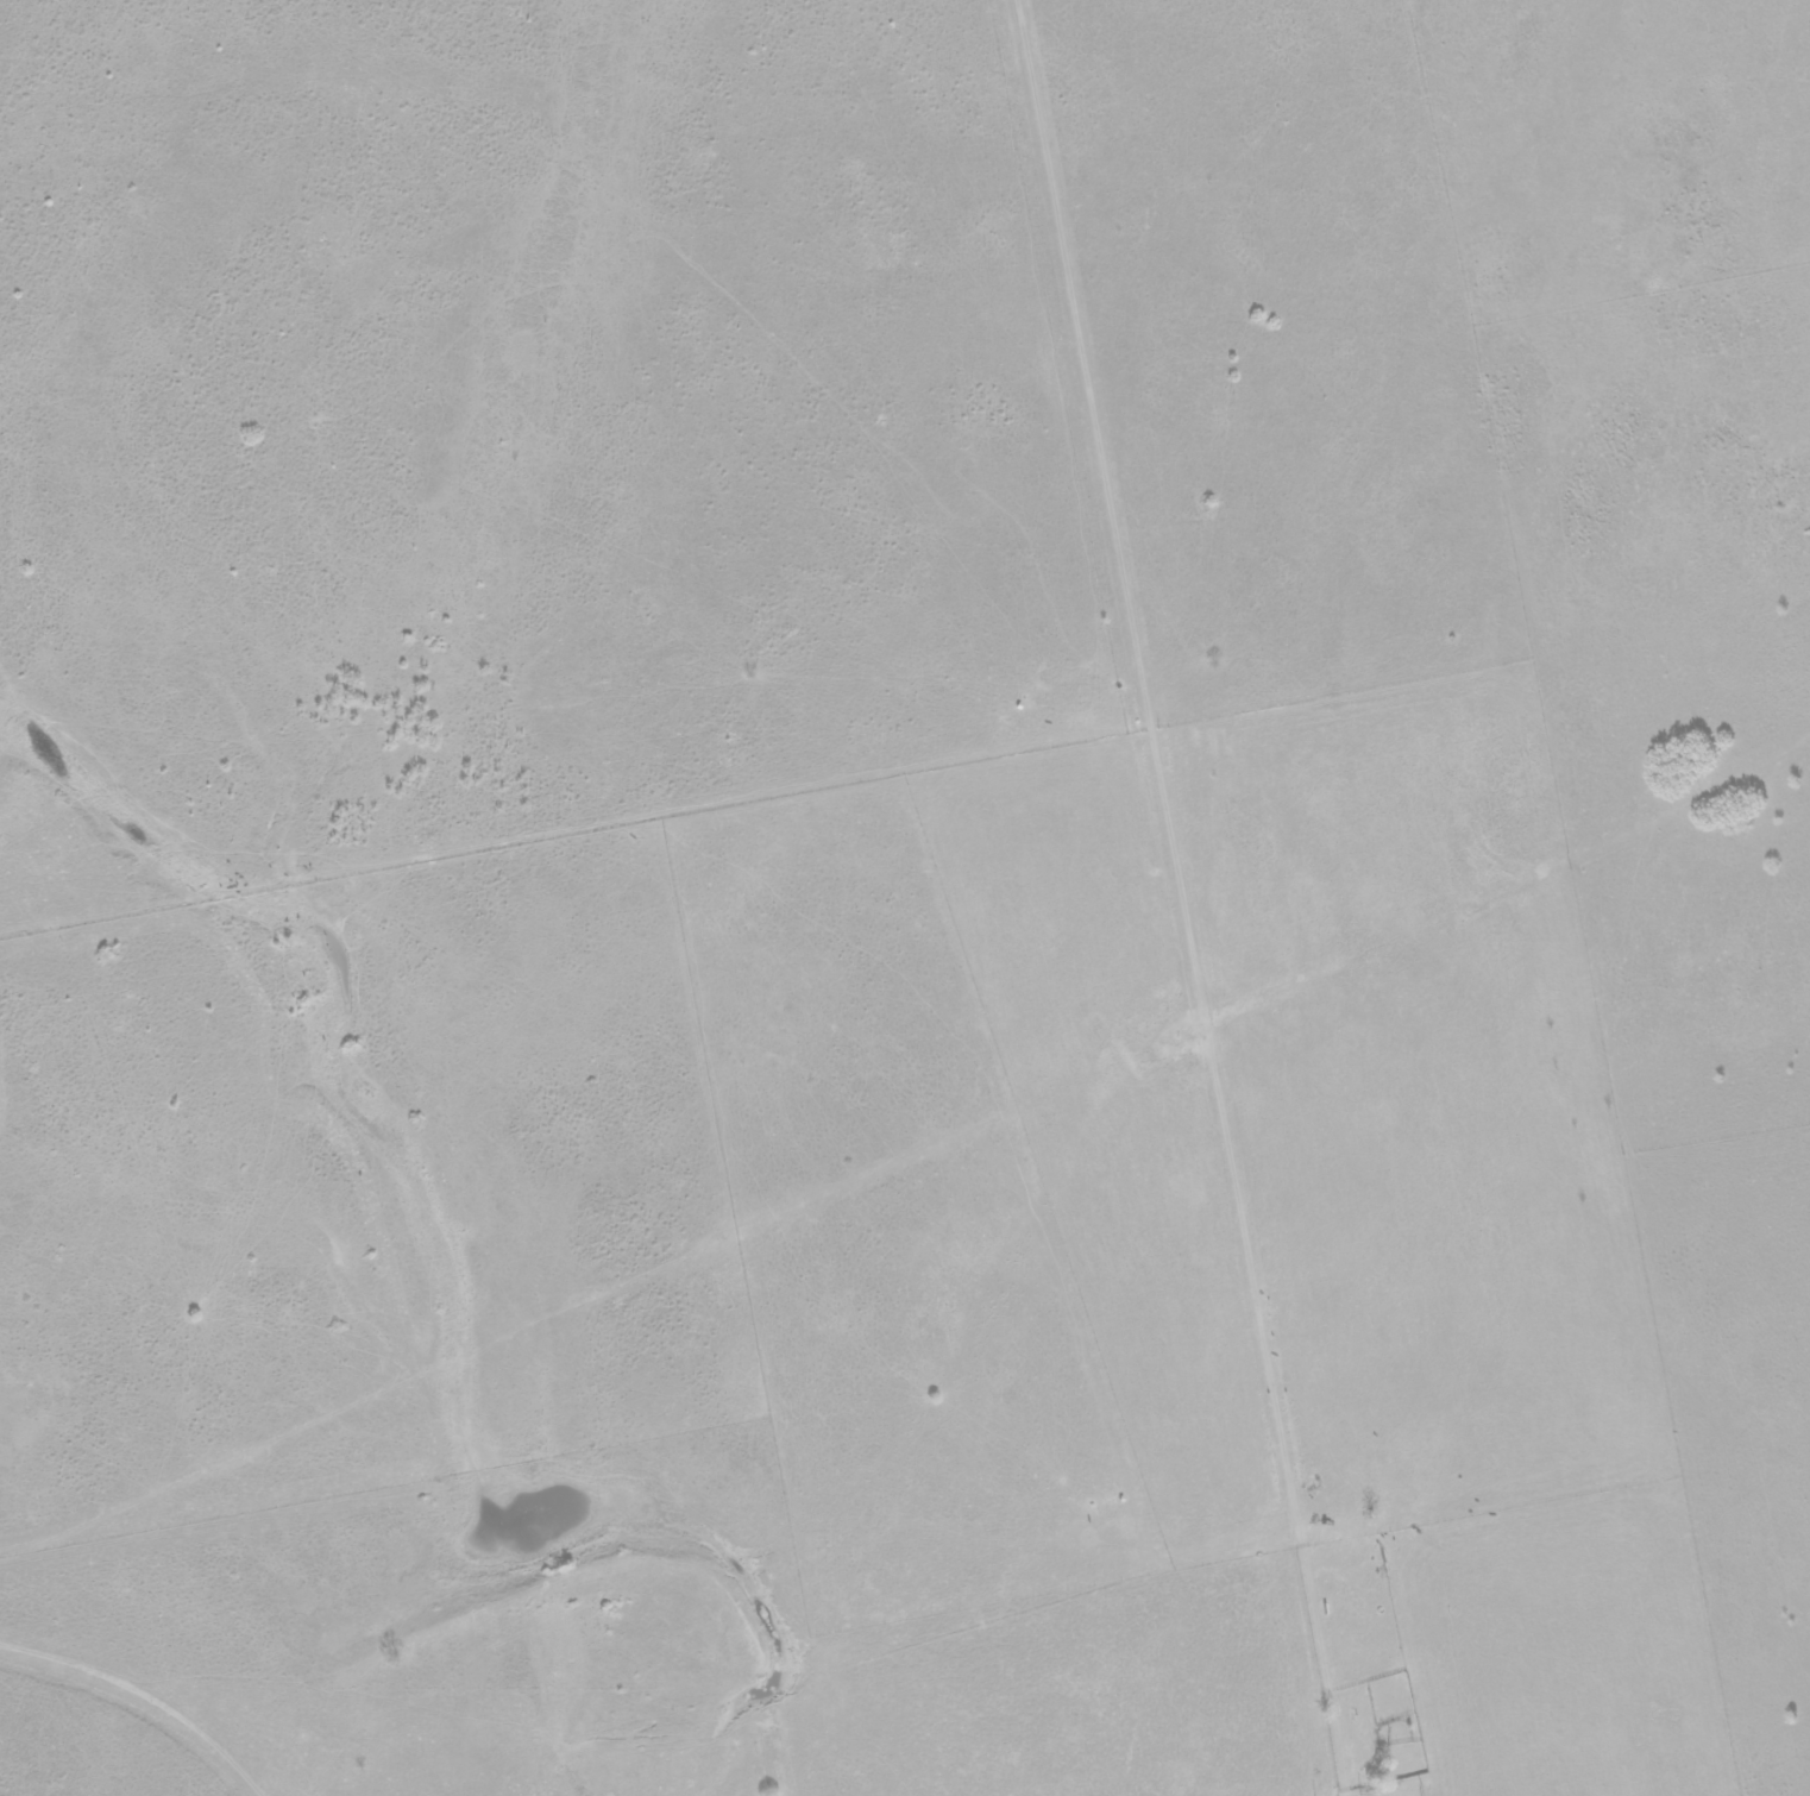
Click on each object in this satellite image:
road: (1346, 1791)

